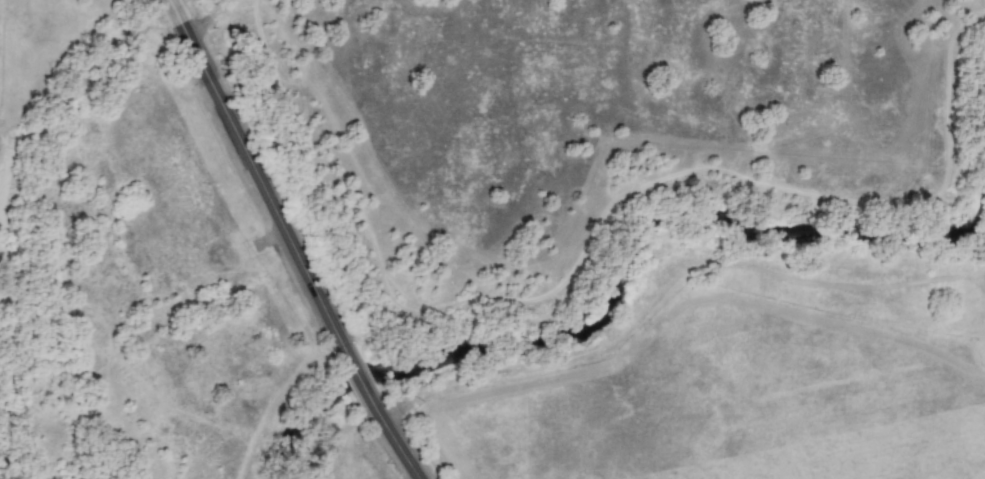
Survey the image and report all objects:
road: (205, 19)
crop: (513, 239)
road: (288, 240)

